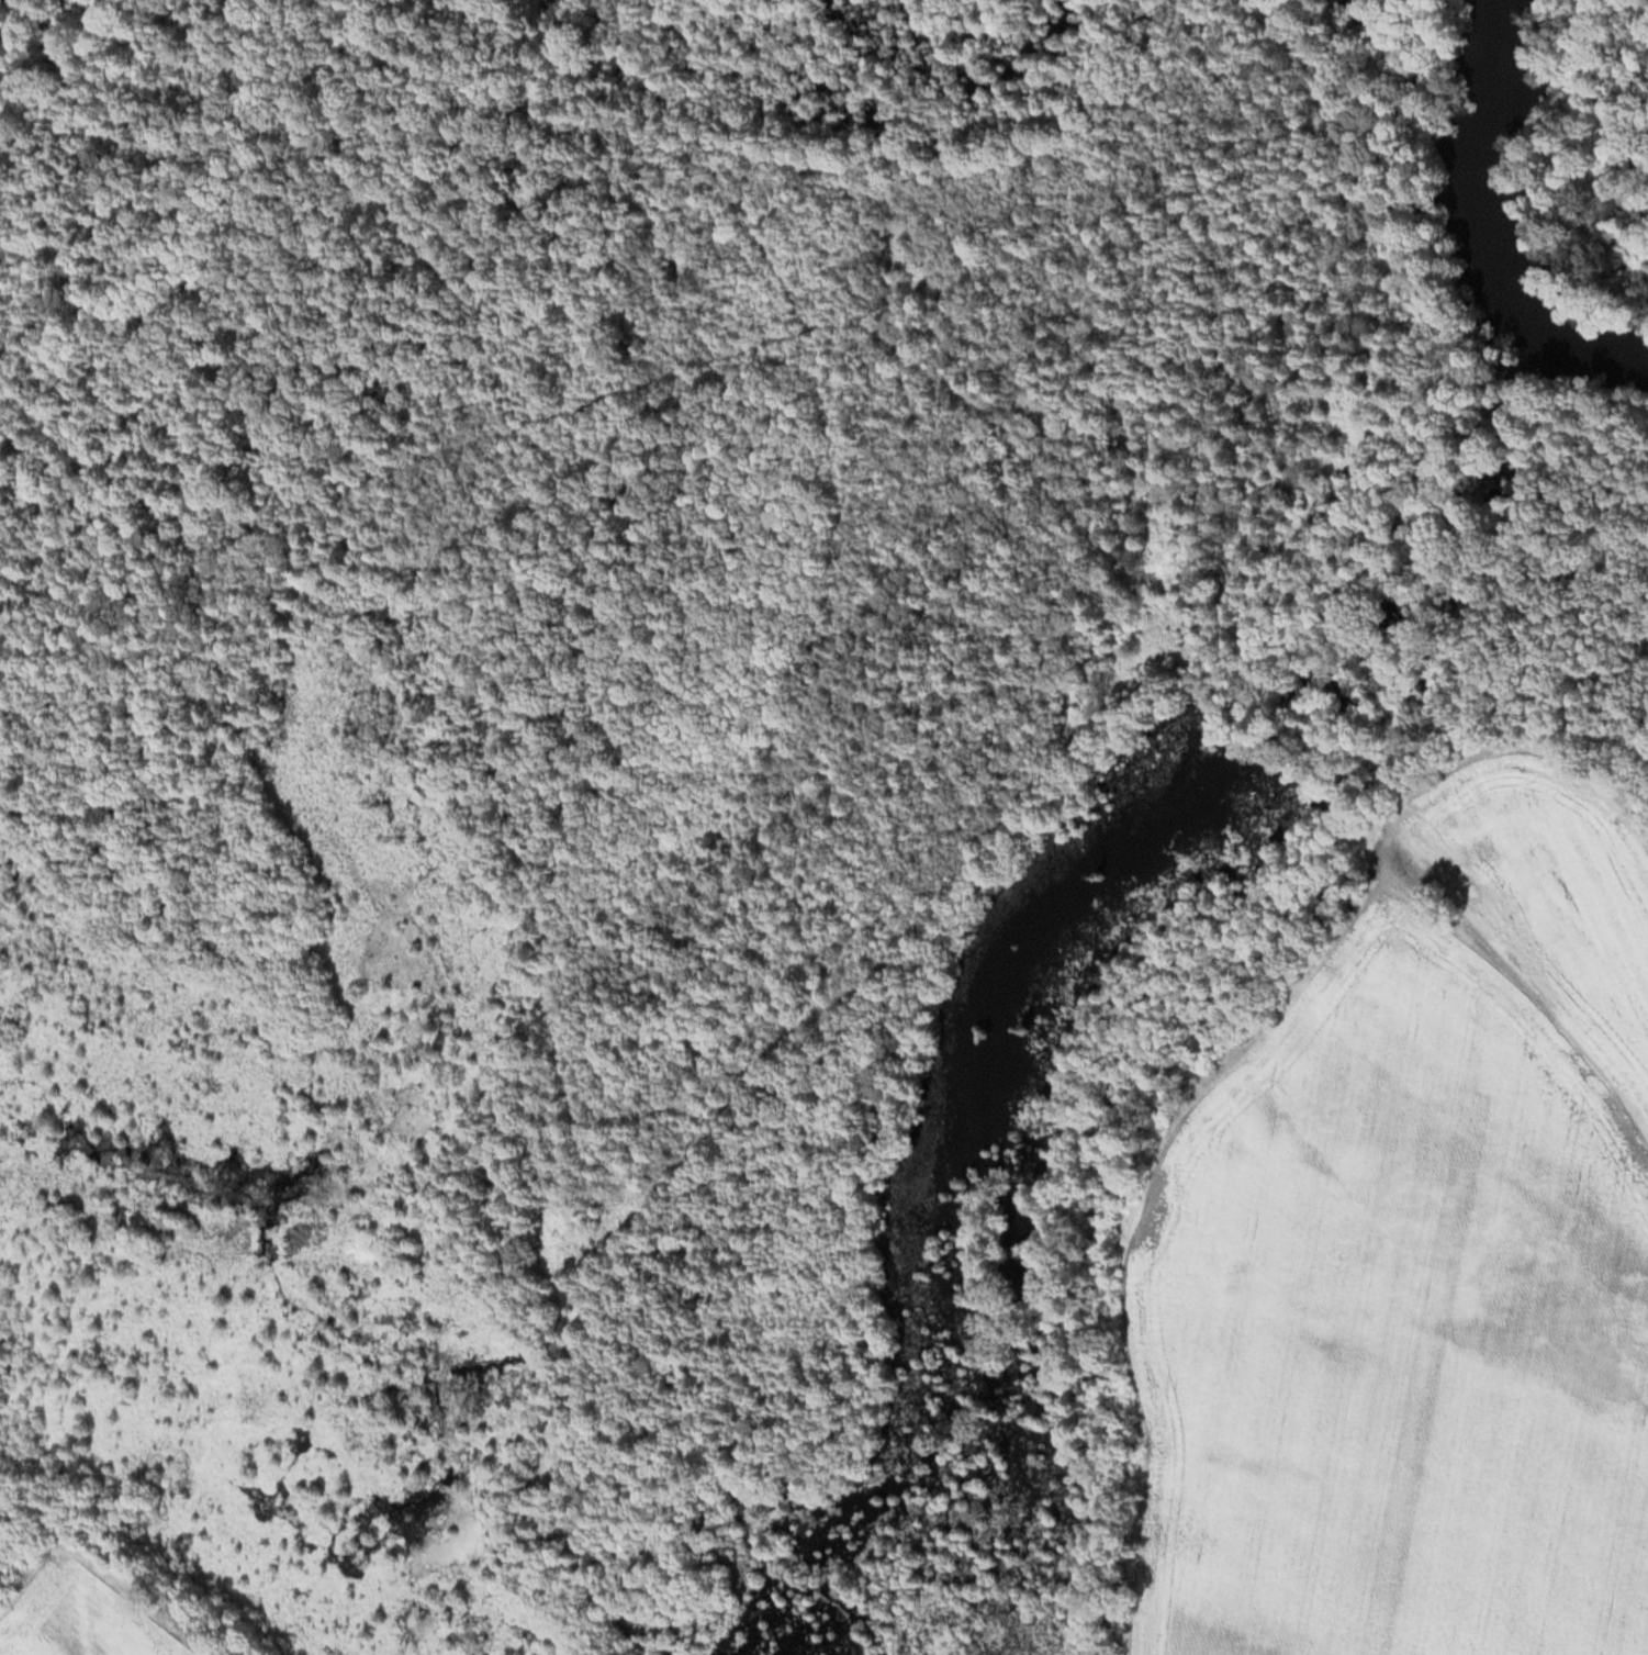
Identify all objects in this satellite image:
river: (1490, 192)
river: (1618, 353)

